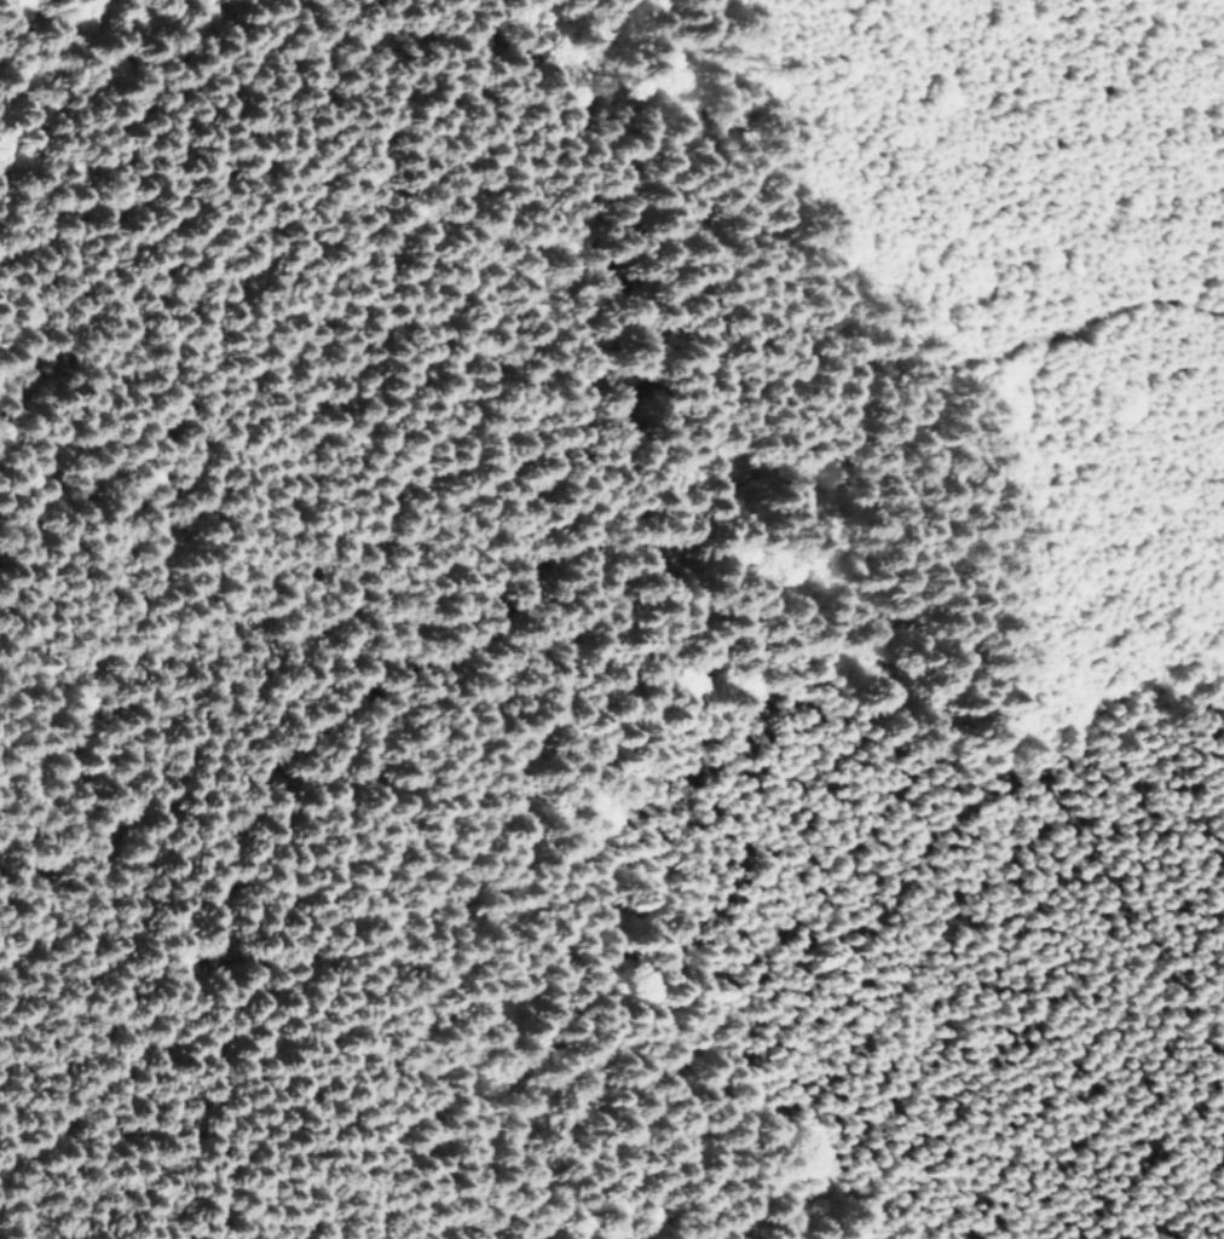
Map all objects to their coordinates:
road: (602, 30)
road: (913, 423)
road: (493, 644)
road: (116, 1113)
road: (5, 1220)

